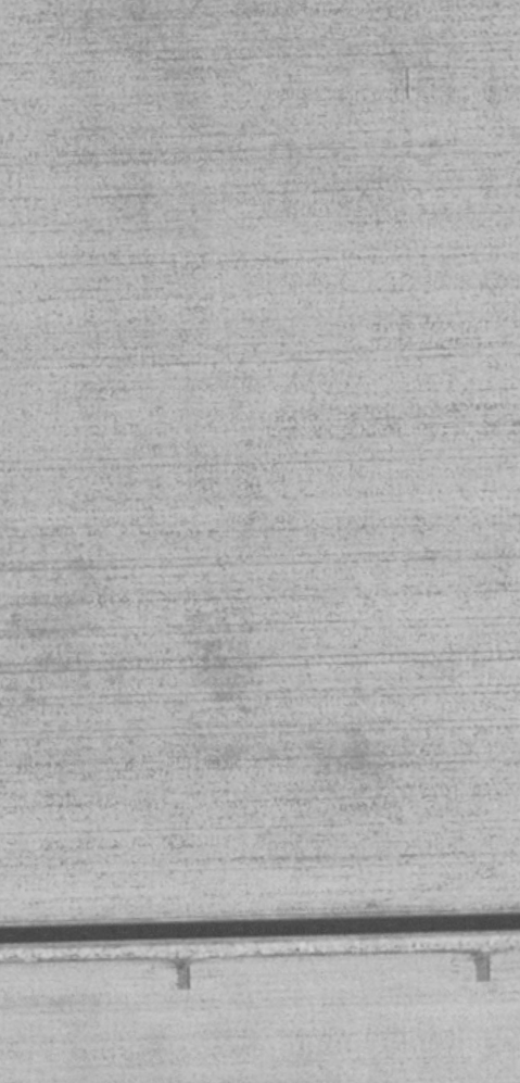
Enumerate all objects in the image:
road: (259, 925)

